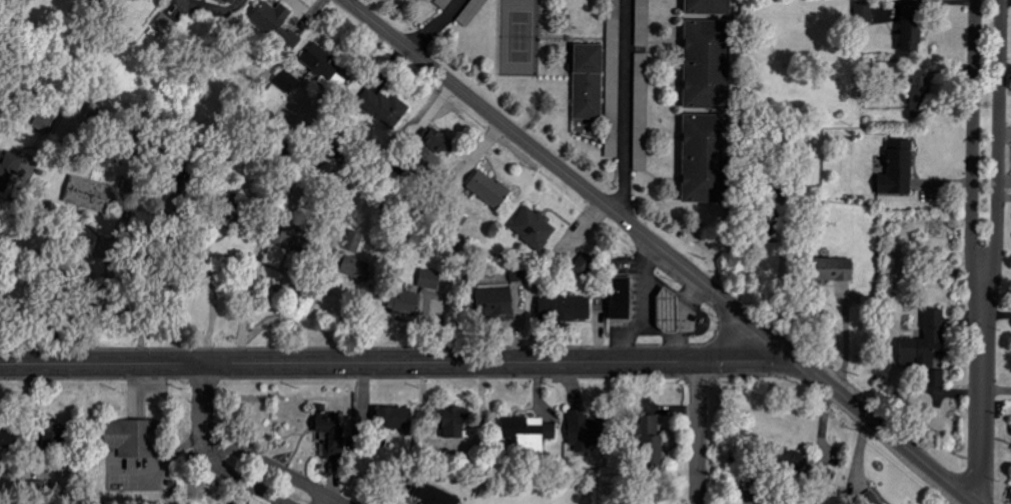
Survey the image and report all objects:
building: (233, 1)
building: (444, 3)
building: (709, 7)
building: (472, 12)
building: (864, 12)
building: (276, 23)
building: (643, 23)
road: (436, 25)
building: (167, 26)
building: (912, 28)
park: (521, 39)
building: (321, 63)
building: (708, 64)
building: (614, 78)
building: (589, 81)
building: (289, 82)
building: (919, 94)
building: (384, 107)
road: (626, 108)
building: (642, 111)
building: (45, 121)
building: (439, 140)
road: (972, 146)
building: (706, 158)
building: (899, 168)
building: (11, 171)
road: (573, 180)
building: (490, 189)
building: (90, 194)
building: (297, 197)
road: (9, 203)
building: (231, 211)
building: (534, 228)
building: (770, 229)
building: (293, 236)
building: (355, 240)
road: (997, 252)
building: (350, 265)
building: (585, 265)
building: (833, 270)
road: (142, 274)
building: (518, 274)
road: (105, 275)
building: (431, 278)
road: (276, 281)
building: (621, 297)
road: (214, 300)
building: (405, 301)
building: (495, 302)
building: (567, 307)
building: (668, 310)
road: (280, 315)
road: (51, 334)
road: (723, 337)
building: (926, 341)
road: (399, 363)
building: (937, 378)
road: (203, 401)
building: (395, 418)
building: (453, 422)
building: (584, 430)
road: (887, 432)
road: (698, 433)
building: (329, 434)
building: (54, 436)
building: (133, 438)
building: (653, 441)
building: (7, 445)
road: (272, 469)
road: (233, 478)
building: (434, 495)
building: (871, 498)
road: (326, 501)

